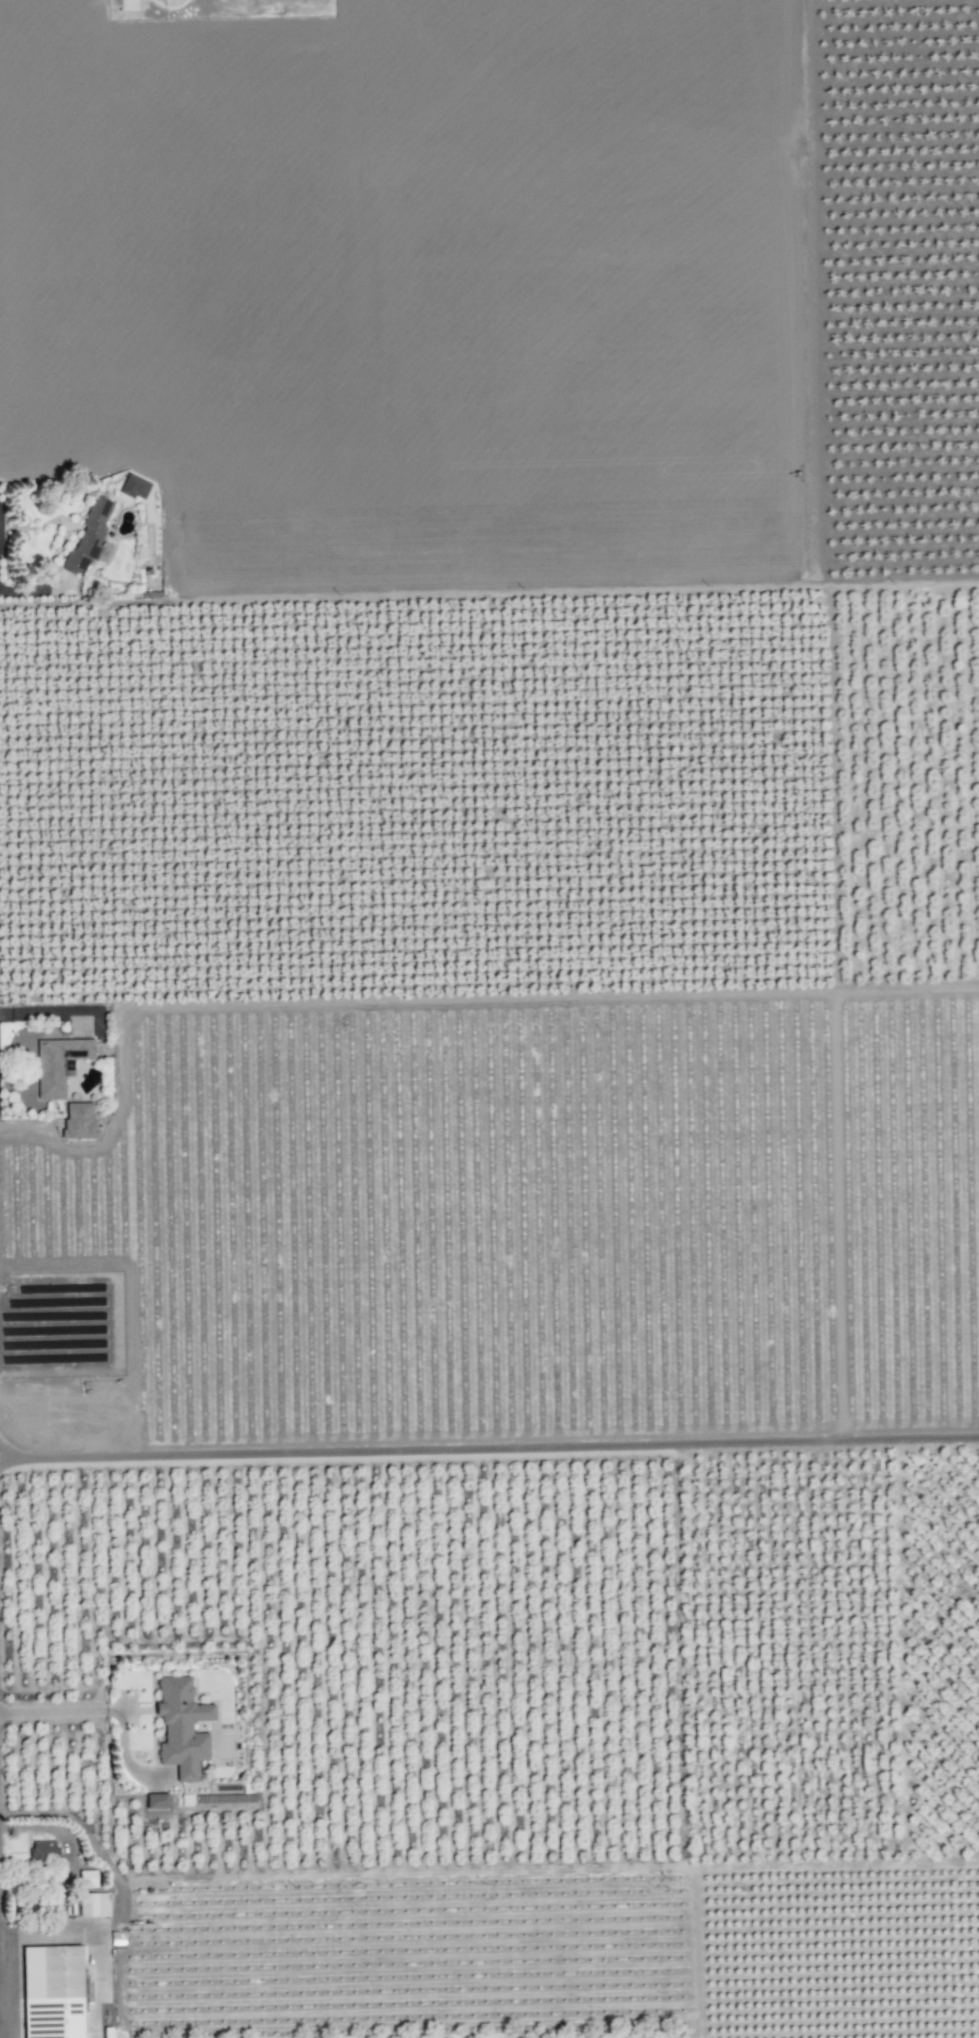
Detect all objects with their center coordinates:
building: (133, 486)
building: (88, 538)
building: (57, 1063)
building: (78, 1119)
road: (65, 1710)
building: (180, 1726)
building: (43, 1850)
building: (86, 1877)
building: (92, 1903)
road: (93, 1939)
building: (50, 1991)

